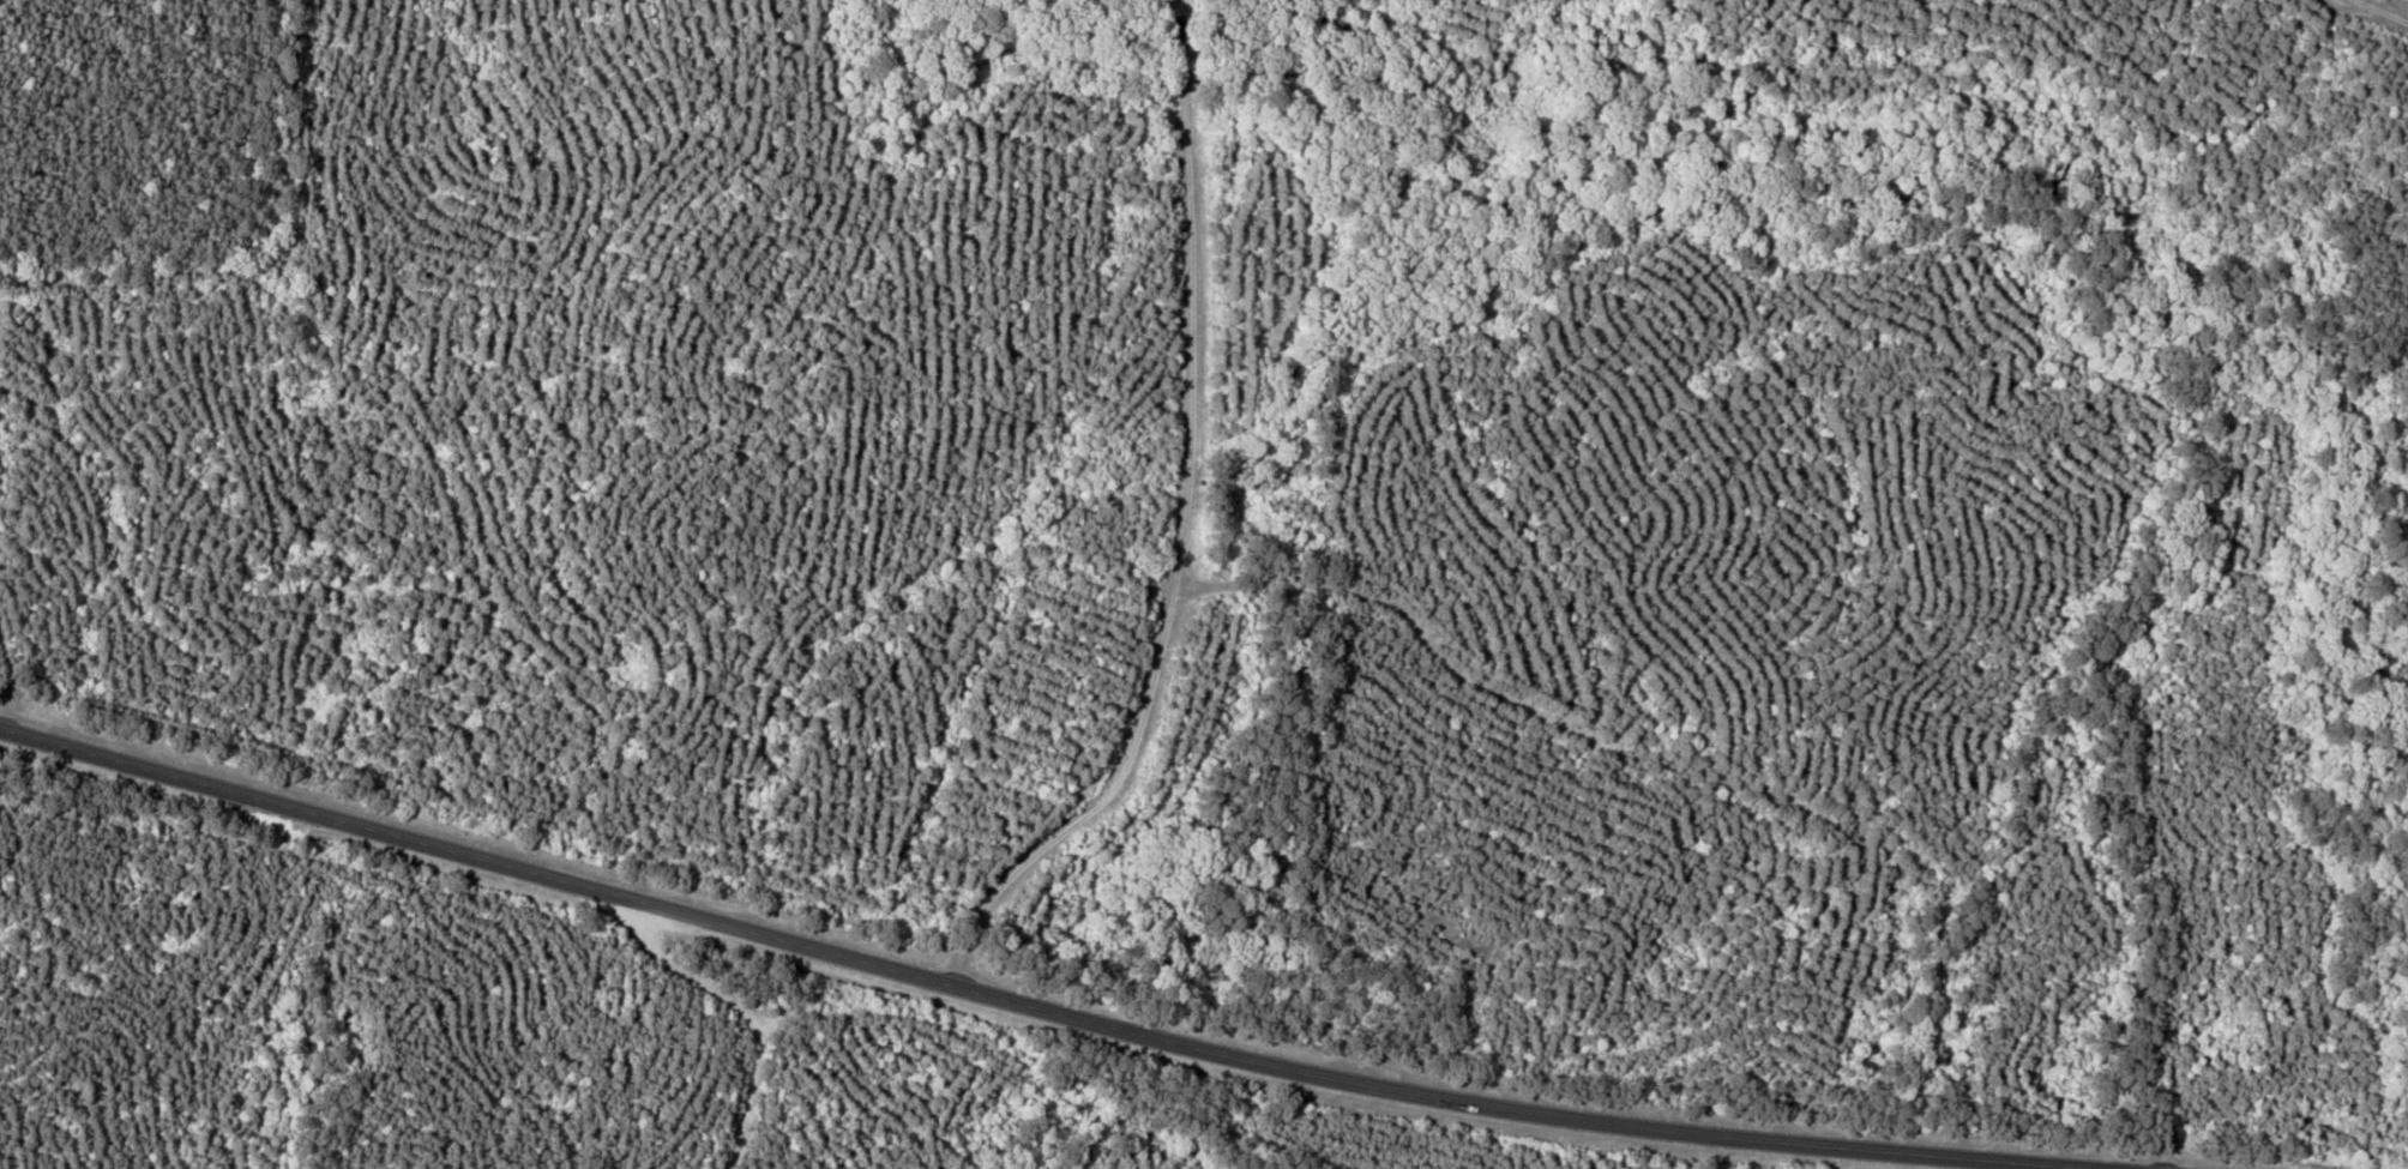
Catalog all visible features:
road: (1051, 1007)

